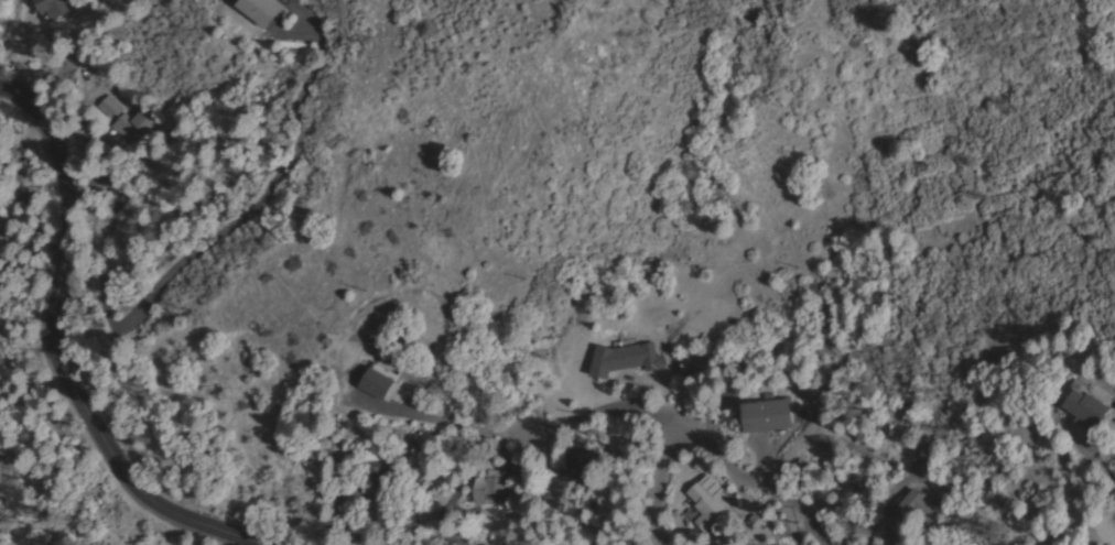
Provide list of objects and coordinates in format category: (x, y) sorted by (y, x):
building: (53, 7)
building: (260, 9)
building: (122, 118)
road: (51, 353)
building: (624, 358)
building: (695, 368)
road: (1111, 399)
building: (1085, 406)
road: (597, 407)
building: (766, 414)
building: (375, 470)
road: (758, 478)
road: (656, 483)
building: (488, 486)
building: (705, 505)
building: (916, 506)

